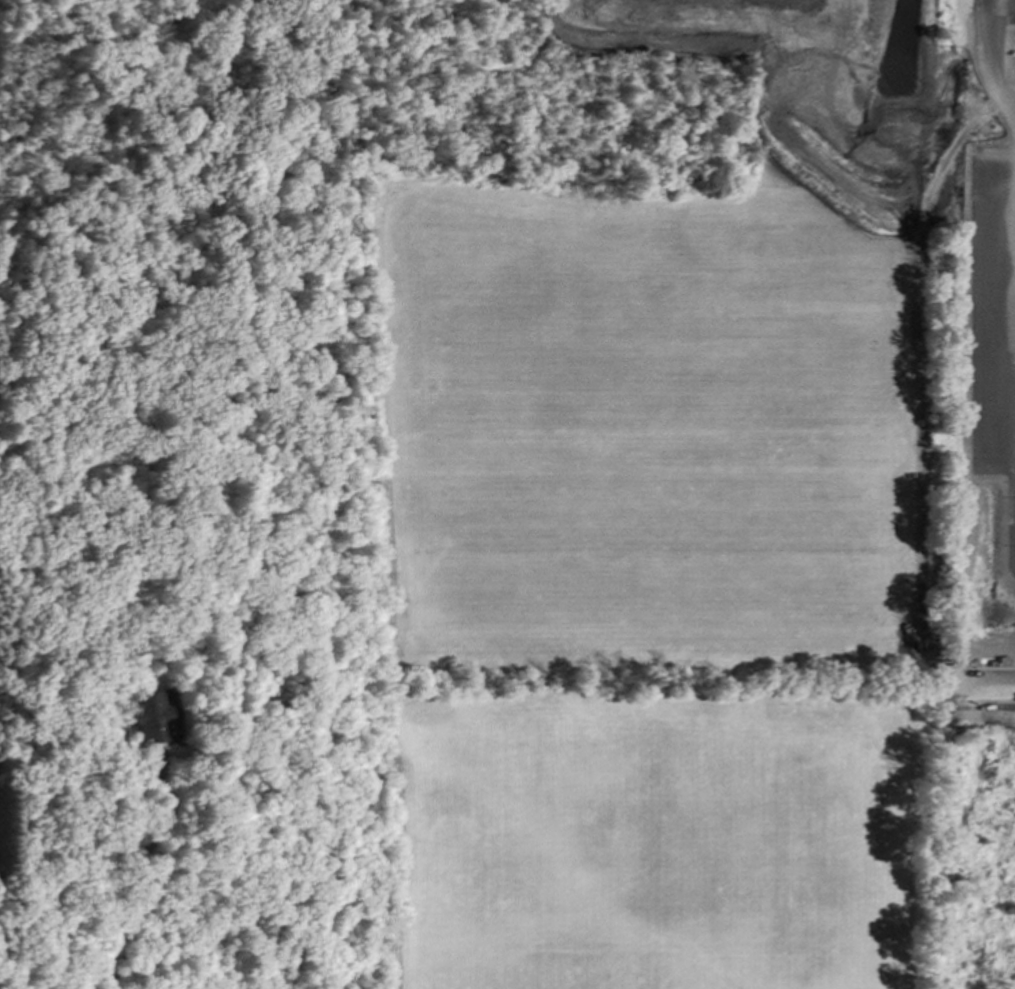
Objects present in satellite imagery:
road: (1002, 15)
road: (986, 64)
crop: (653, 583)
road: (987, 688)
road: (980, 707)
building: (156, 718)
road: (143, 881)

